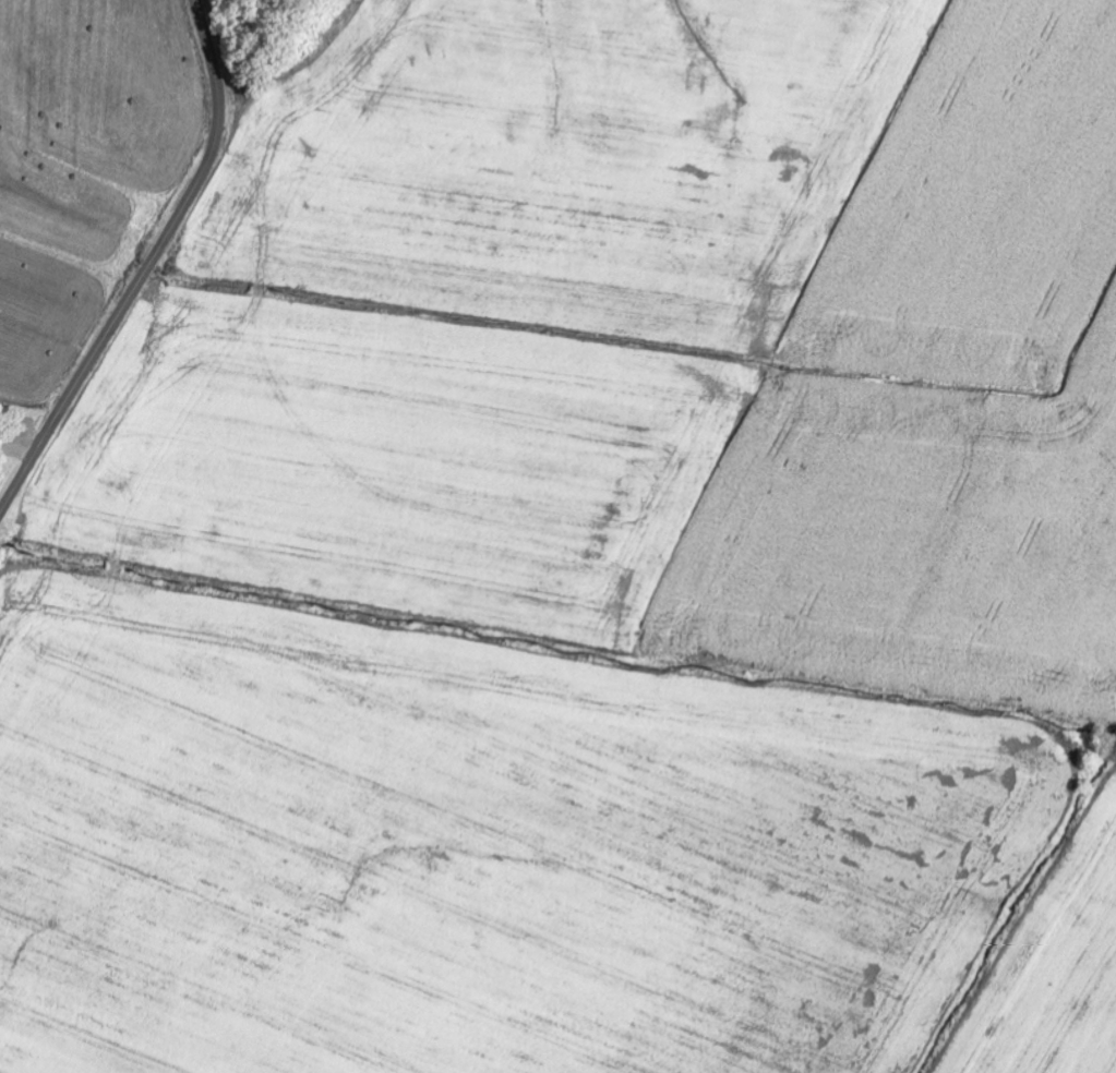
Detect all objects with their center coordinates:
road: (147, 269)

